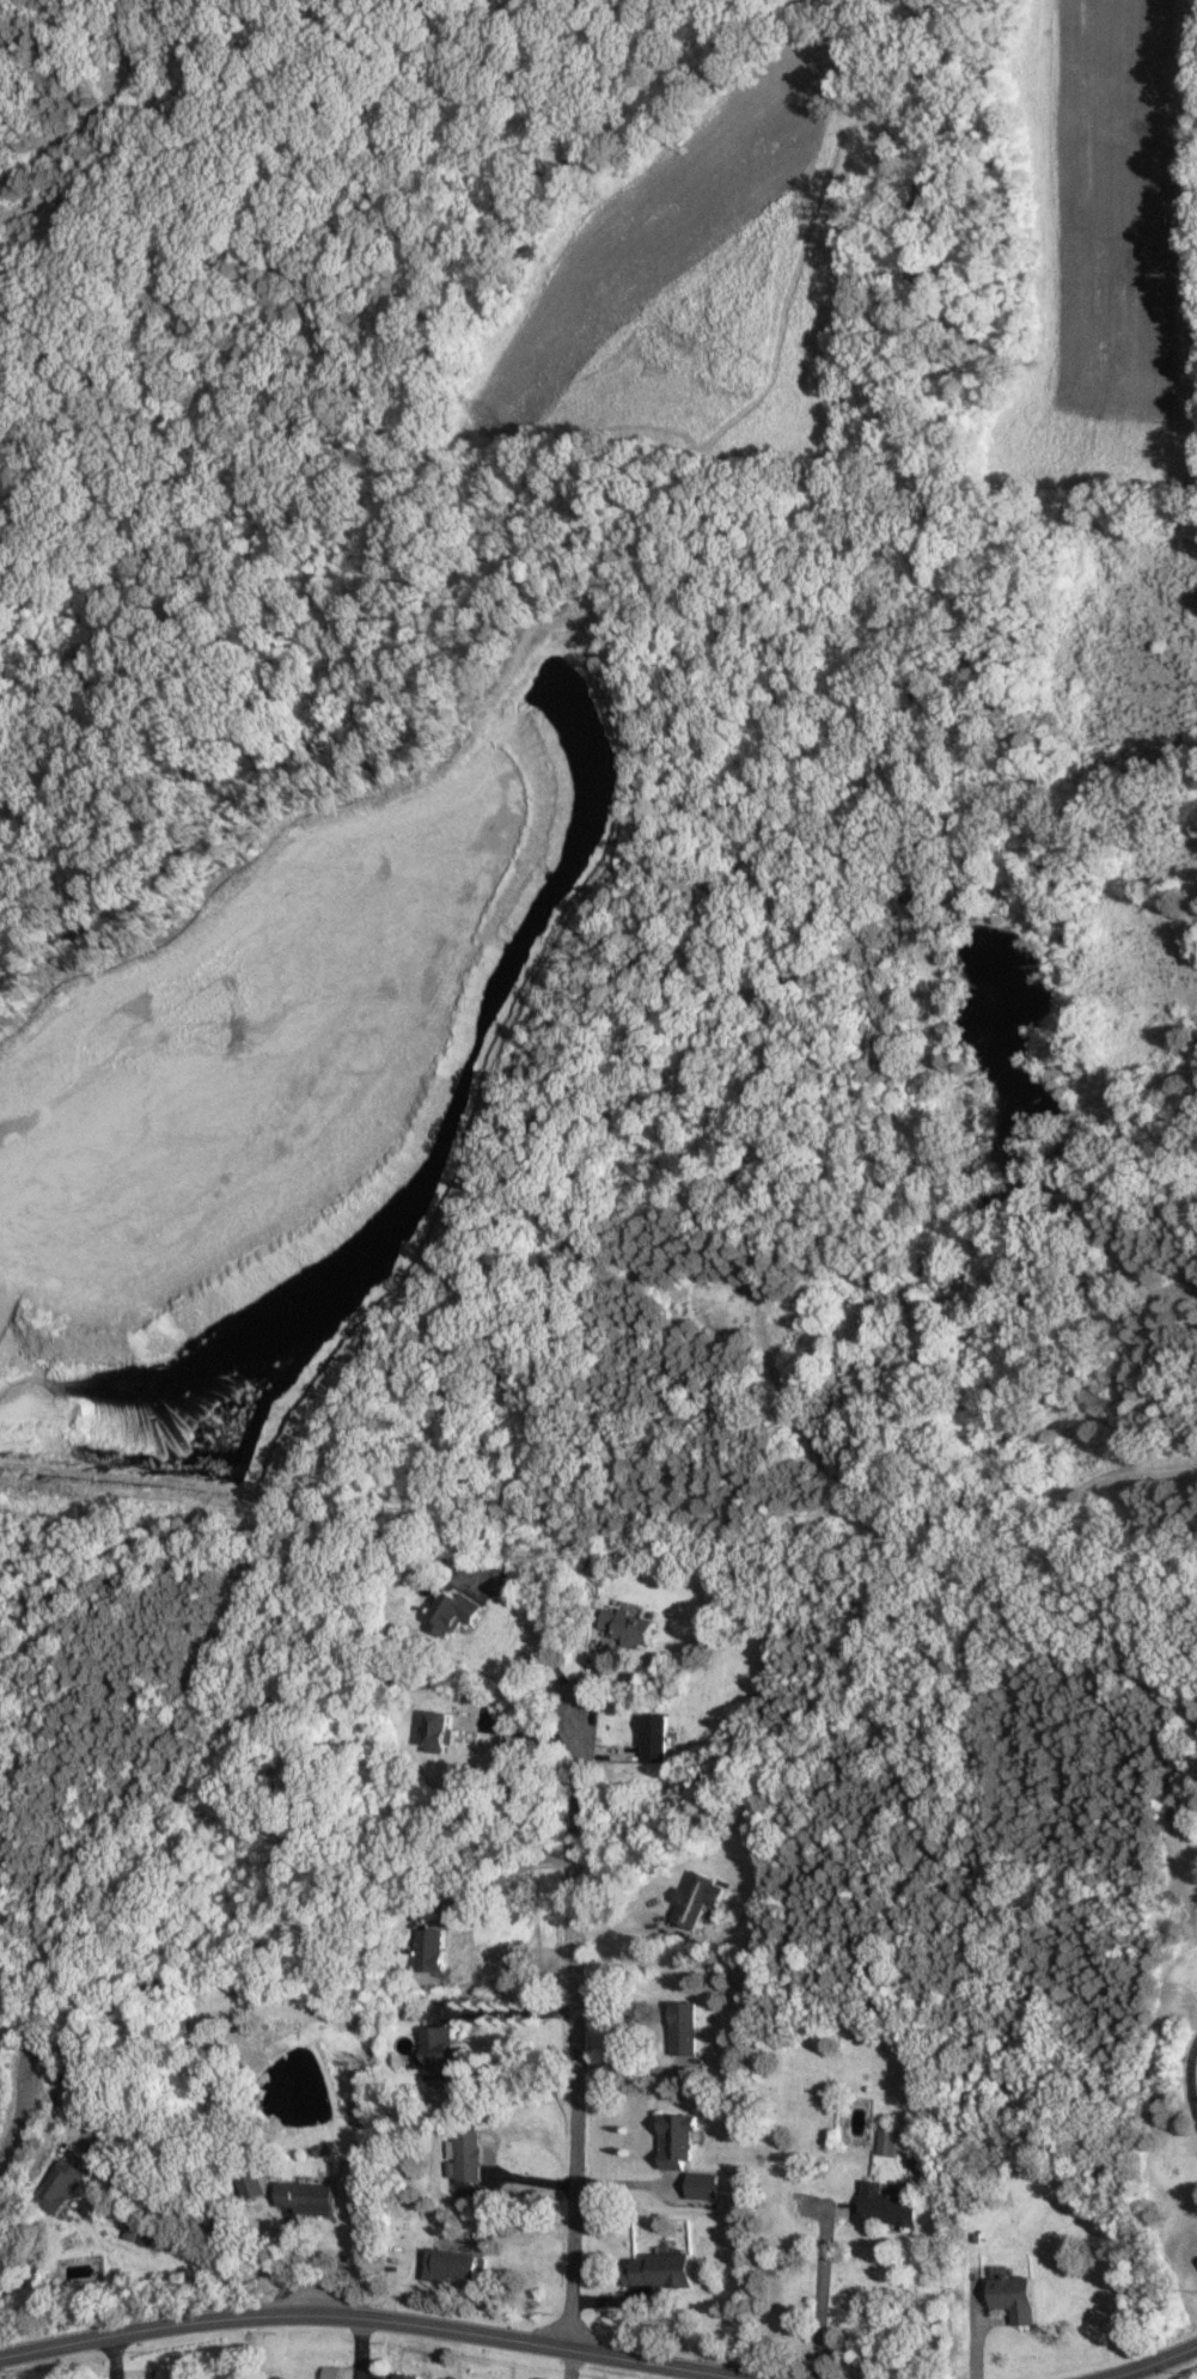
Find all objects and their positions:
building: (453, 1611)
building: (628, 1627)
road: (544, 1633)
building: (436, 1730)
building: (653, 1737)
road: (512, 1871)
building: (697, 1898)
building: (432, 1948)
road: (517, 2011)
road: (576, 2027)
building: (684, 2027)
building: (439, 2051)
road: (1192, 2078)
building: (677, 2140)
building: (887, 2140)
building: (463, 2155)
road: (105, 2163)
building: (251, 2183)
building: (702, 2184)
building: (59, 2185)
building: (307, 2196)
building: (139, 2233)
road: (453, 2235)
building: (448, 2264)
building: (659, 2269)
road: (823, 2293)
building: (1014, 2296)
road: (374, 2317)
road: (973, 2328)
road: (356, 2347)
road: (111, 2356)
road: (570, 2363)
road: (1150, 2363)
building: (399, 2375)

